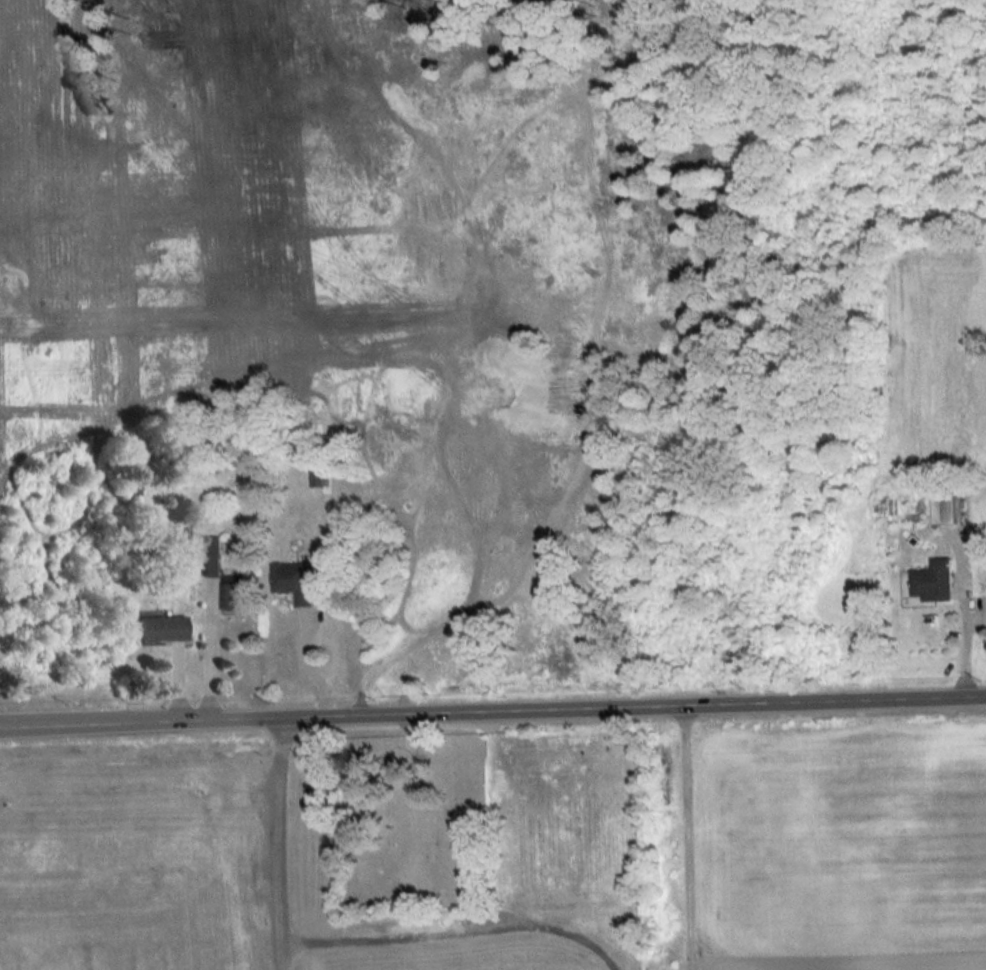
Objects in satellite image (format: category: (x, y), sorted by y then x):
building: (943, 510)
building: (210, 558)
building: (933, 583)
building: (293, 584)
building: (231, 595)
building: (160, 629)
road: (962, 650)
road: (207, 661)
road: (305, 663)
road: (492, 709)
park: (408, 823)
crop: (839, 837)
road: (275, 842)

